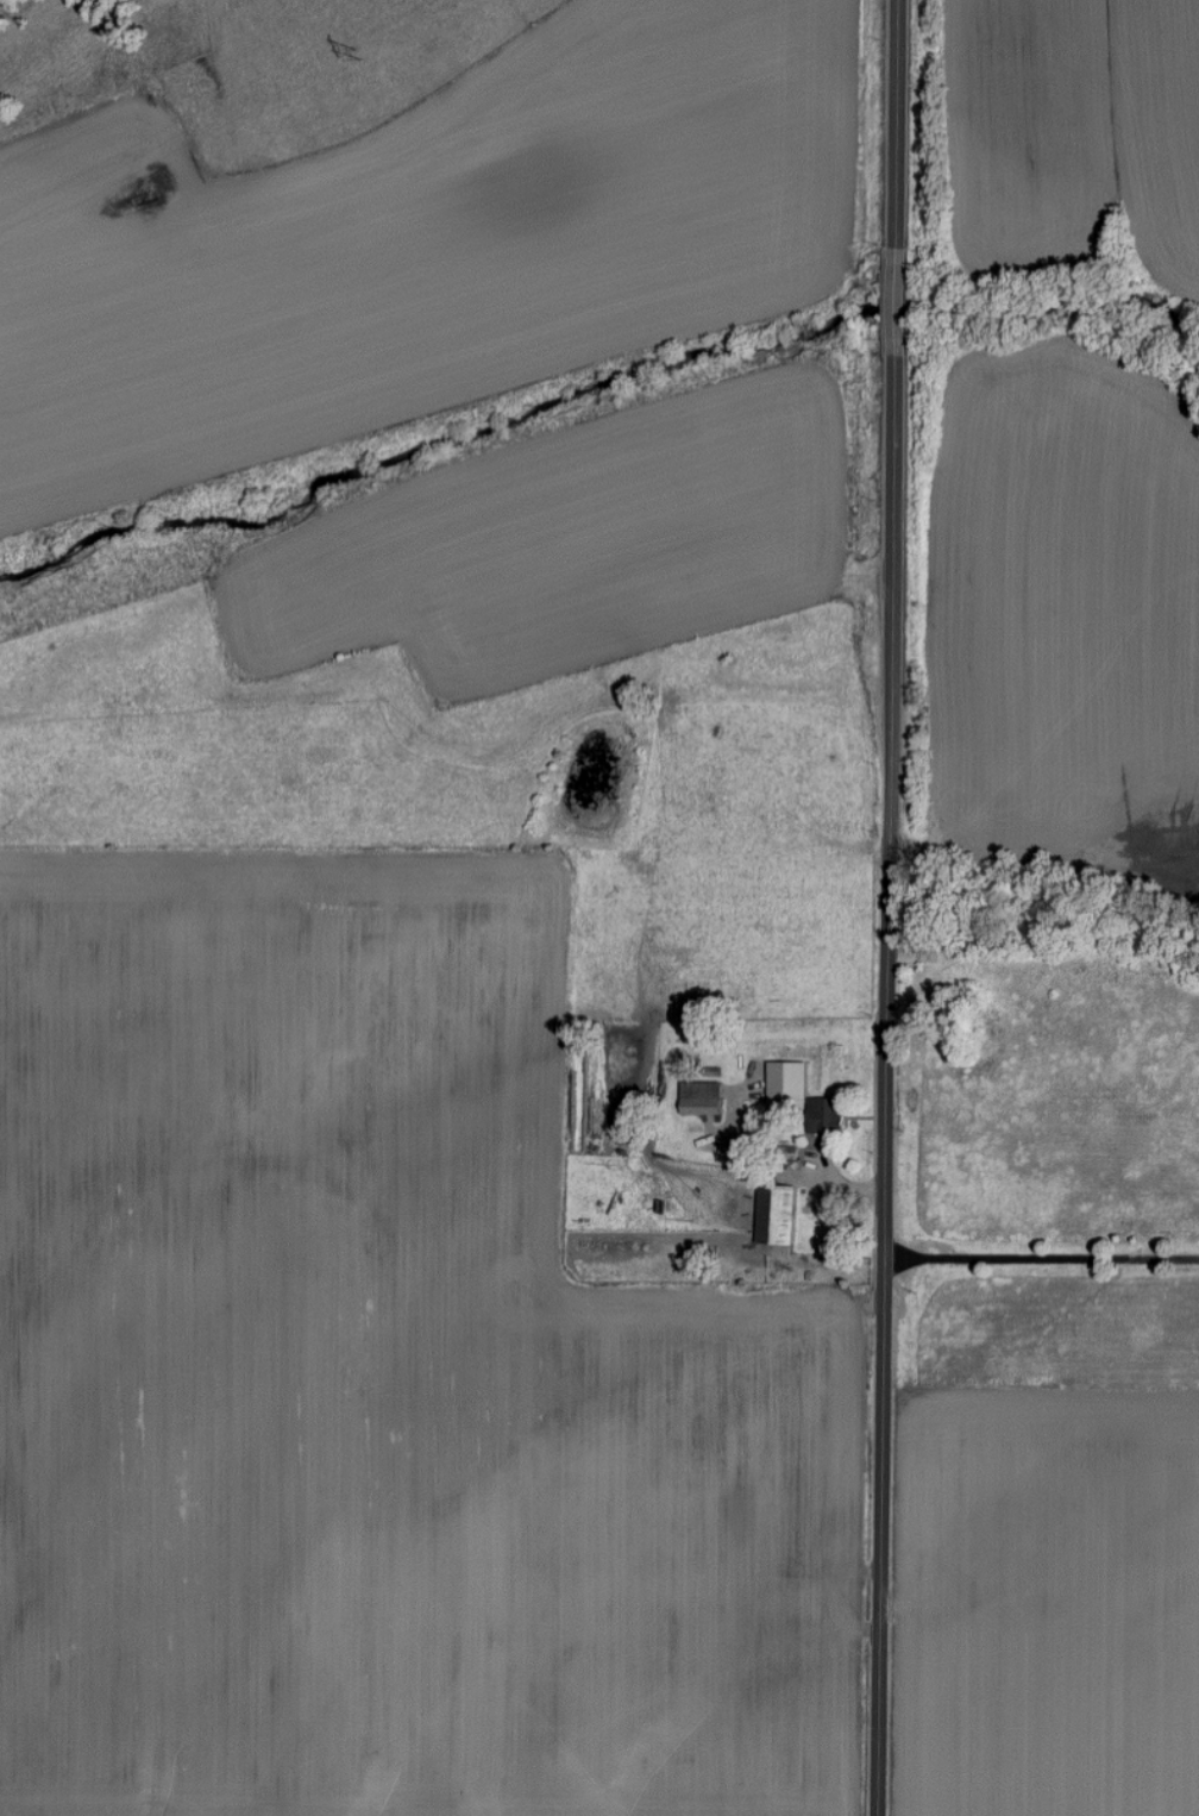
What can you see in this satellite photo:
road: (890, 908)
building: (805, 1095)
building: (704, 1098)
building: (779, 1215)
road: (1041, 1261)

